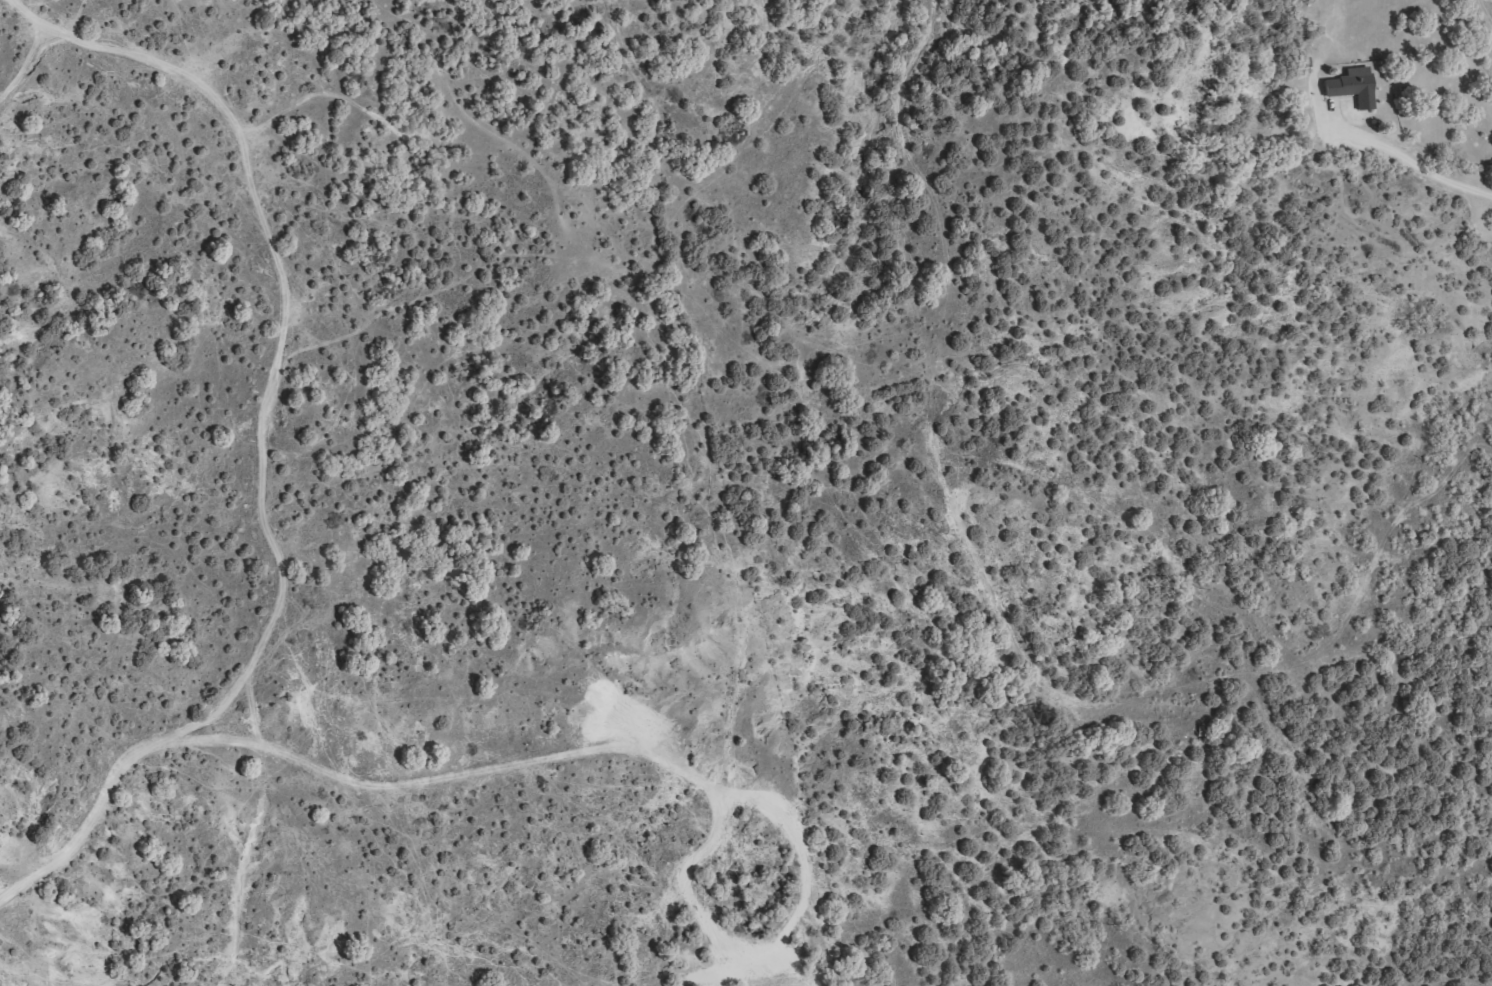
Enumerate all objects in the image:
building: (1352, 94)
road: (1405, 168)

